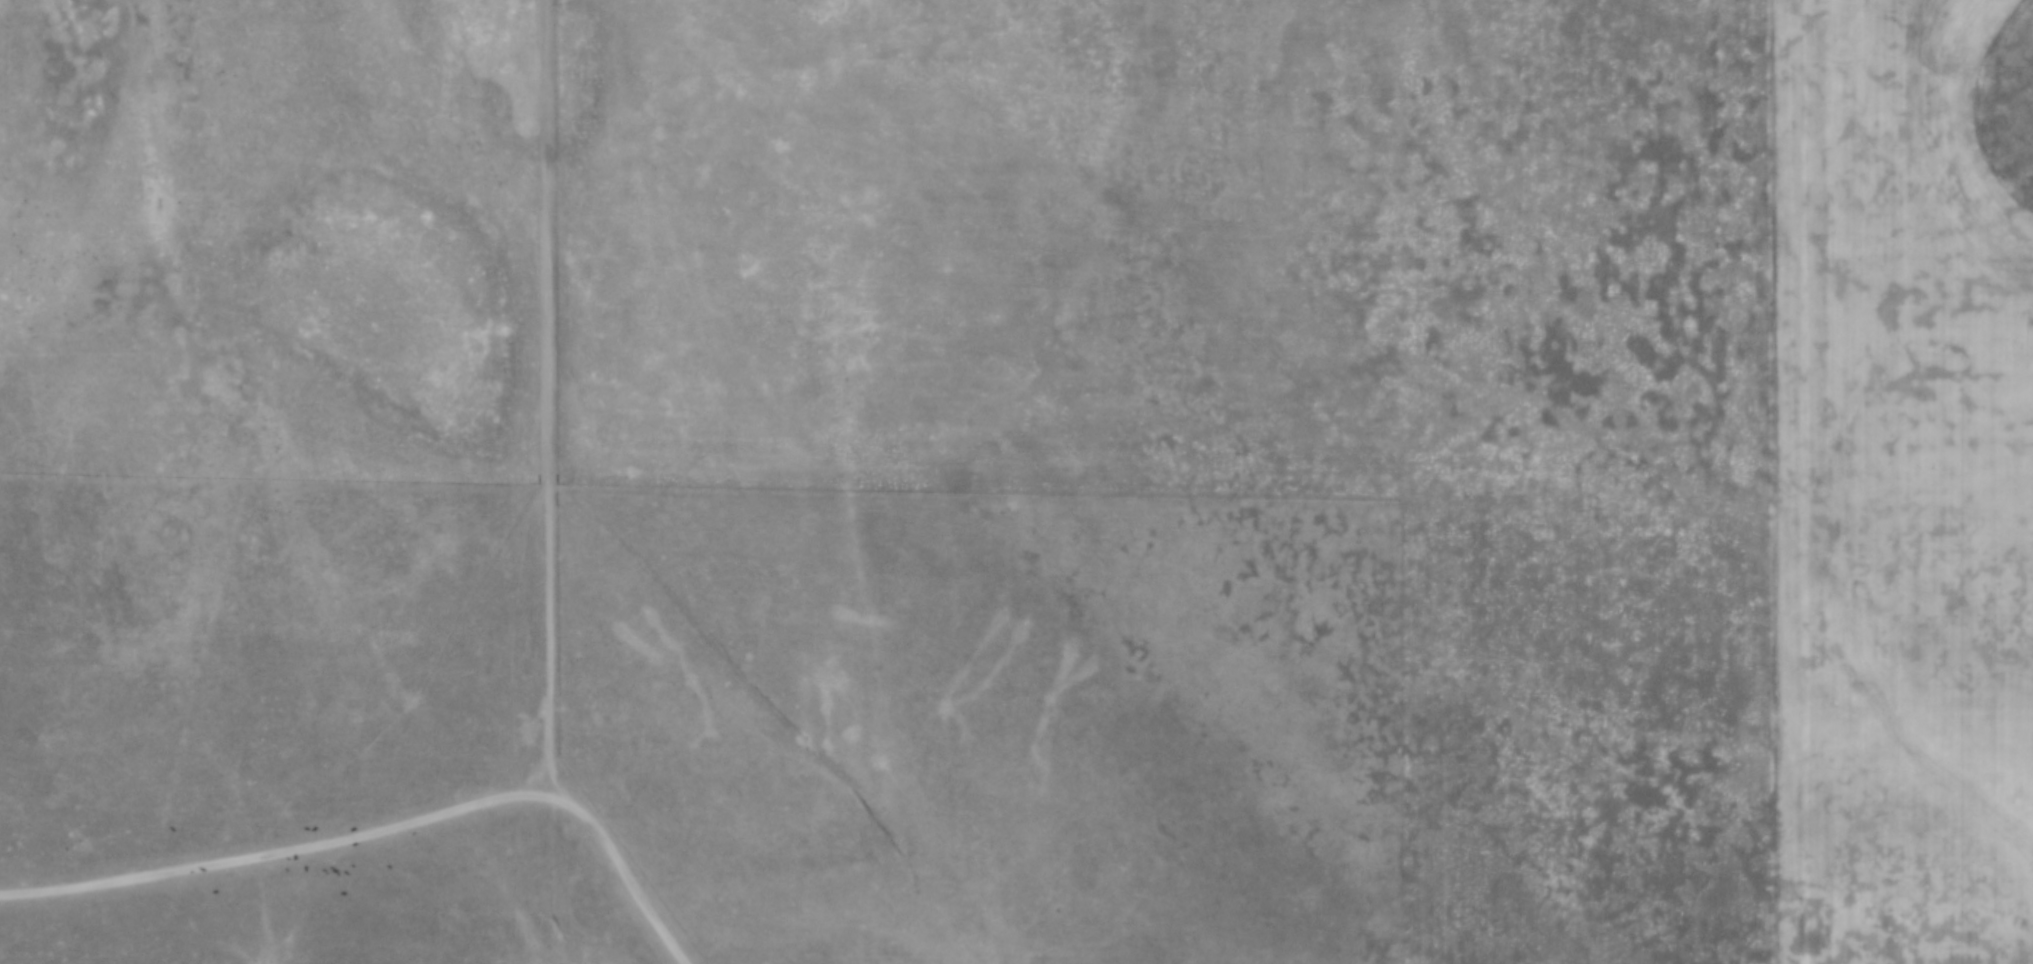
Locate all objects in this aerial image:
road: (549, 411)
road: (381, 831)

